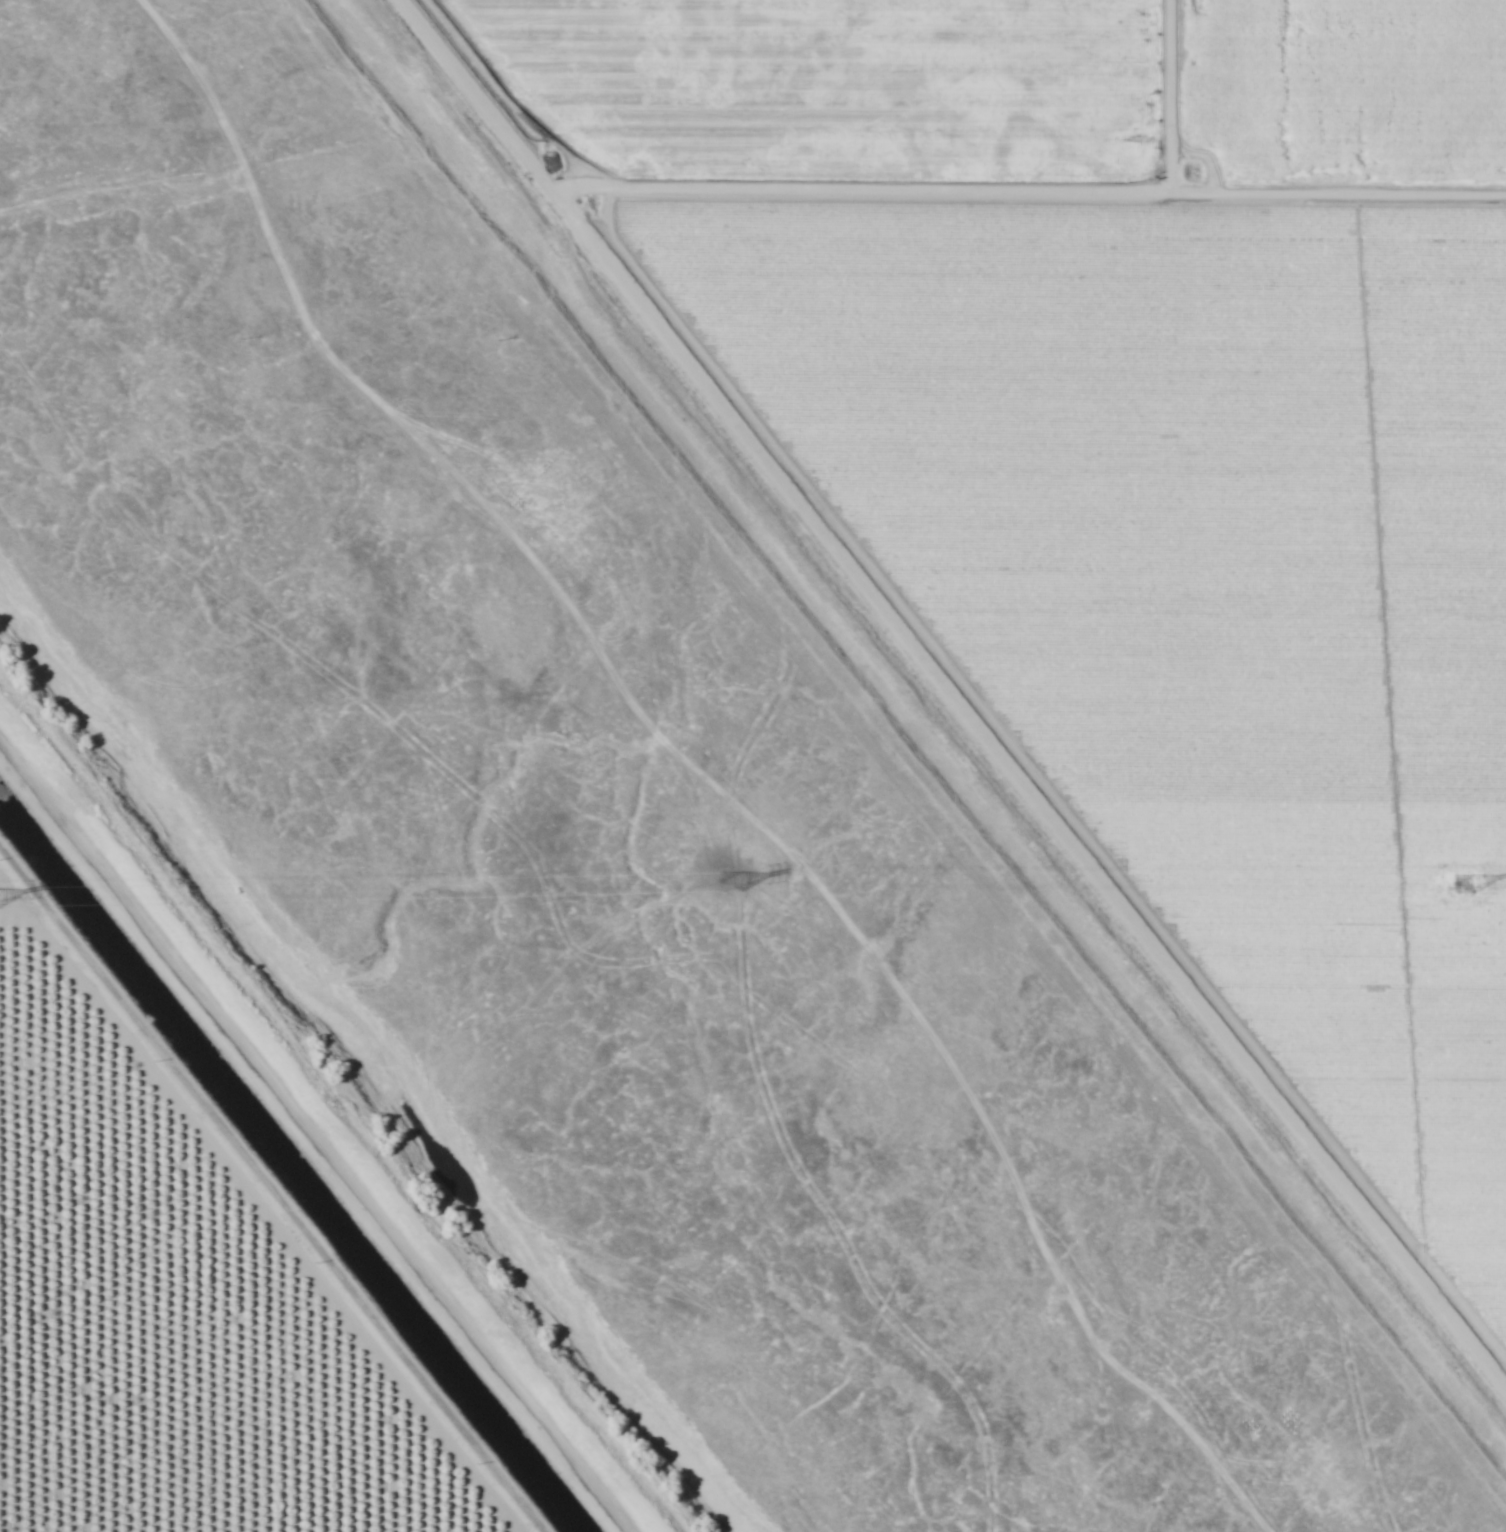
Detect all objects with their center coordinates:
crop: (1336, 178)
road: (1031, 188)
crop: (933, 292)
road: (958, 688)
crop: (1353, 737)
power tower: (730, 883)
power tower: (1463, 884)
road: (318, 1132)
road: (266, 1190)
crop: (168, 1318)

